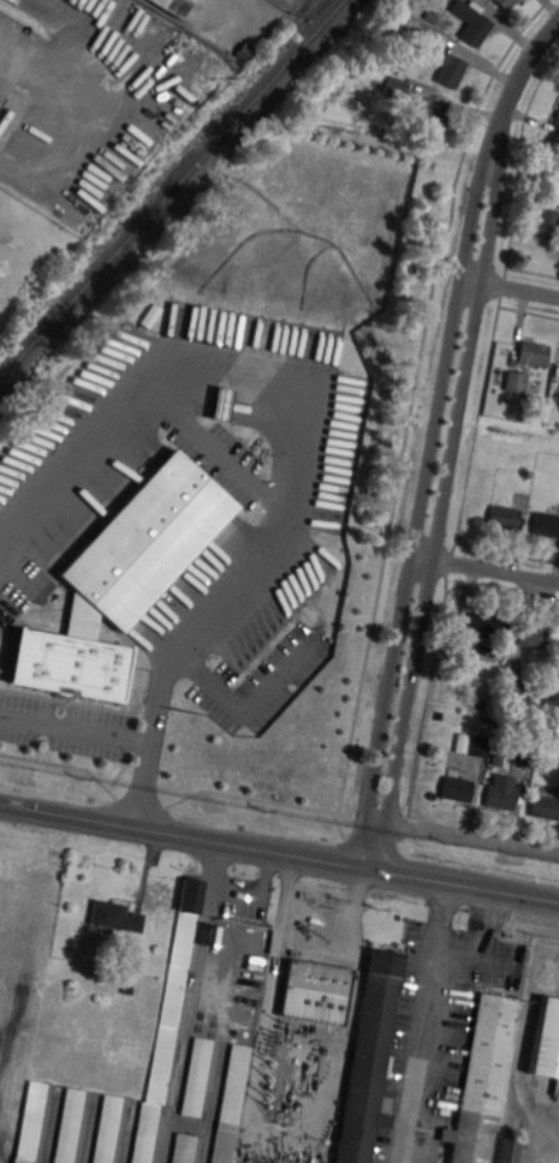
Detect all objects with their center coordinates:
building: (506, 4)
building: (174, 6)
building: (476, 23)
building: (424, 31)
building: (245, 53)
building: (451, 70)
building: (355, 74)
road: (38, 76)
building: (397, 89)
building: (434, 117)
building: (557, 121)
railway: (174, 192)
building: (548, 223)
road: (517, 290)
building: (148, 315)
building: (535, 354)
building: (518, 382)
building: (219, 402)
road: (447, 441)
road: (299, 446)
road: (219, 453)
parking lot: (281, 478)
building: (505, 518)
building: (547, 525)
road: (493, 571)
building: (120, 579)
building: (489, 626)
building: (535, 636)
building: (513, 682)
parking lot: (261, 686)
road: (237, 702)
parking lot: (65, 726)
road: (78, 729)
building: (472, 746)
building: (496, 749)
building: (525, 752)
building: (458, 788)
building: (501, 793)
building: (546, 807)
road: (470, 834)
road: (279, 851)
building: (117, 917)
building: (317, 992)
building: (168, 1022)
road: (422, 1024)
building: (547, 1043)
building: (370, 1060)
building: (200, 1076)
building: (483, 1081)
building: (232, 1104)
building: (32, 1122)
building: (71, 1126)
road: (278, 1128)
building: (109, 1129)
building: (184, 1149)
building: (509, 1151)

